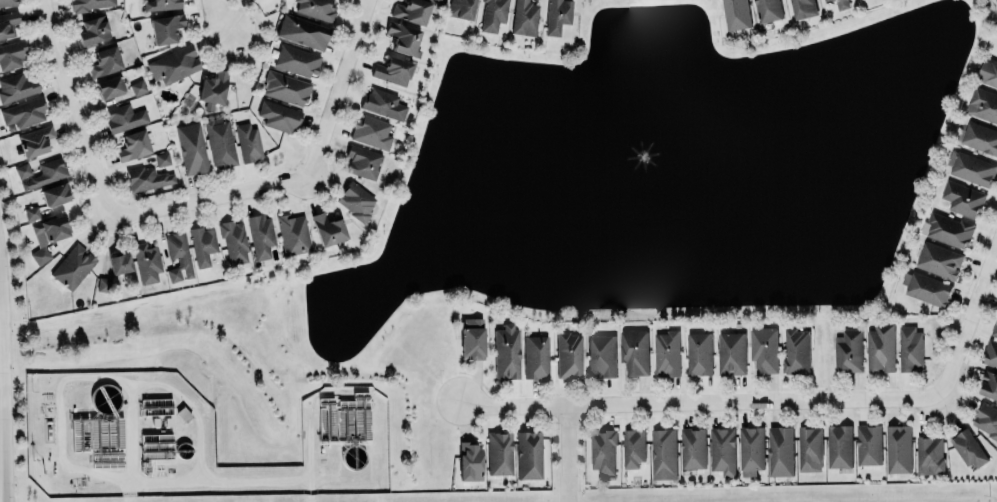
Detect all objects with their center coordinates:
building: (996, 1)
building: (7, 2)
building: (840, 3)
building: (90, 4)
building: (161, 4)
building: (317, 8)
building: (461, 8)
building: (802, 8)
building: (768, 10)
building: (411, 11)
building: (736, 14)
building: (492, 15)
building: (557, 15)
road: (220, 16)
building: (524, 17)
building: (8, 23)
building: (166, 27)
building: (93, 30)
building: (303, 31)
building: (403, 37)
building: (12, 54)
building: (297, 59)
building: (104, 61)
building: (173, 64)
building: (393, 71)
building: (988, 72)
building: (17, 86)
building: (109, 86)
building: (137, 86)
building: (286, 87)
building: (213, 89)
road: (341, 89)
building: (383, 103)
building: (983, 105)
road: (76, 108)
building: (25, 111)
building: (278, 115)
building: (125, 117)
building: (371, 131)
building: (981, 137)
building: (35, 140)
building: (249, 141)
building: (221, 143)
building: (134, 145)
building: (192, 148)
building: (161, 158)
building: (363, 161)
fountain: (635, 164)
building: (973, 169)
building: (22, 170)
building: (46, 173)
building: (147, 178)
building: (54, 194)
road: (213, 197)
building: (962, 199)
building: (355, 200)
building: (31, 212)
building: (52, 228)
building: (328, 228)
building: (948, 230)
building: (293, 233)
building: (261, 234)
building: (234, 240)
building: (202, 244)
building: (178, 256)
building: (939, 260)
building: (146, 262)
building: (120, 264)
building: (73, 266)
building: (103, 284)
building: (925, 288)
road: (968, 320)
building: (994, 328)
building: (471, 338)
building: (909, 347)
building: (880, 348)
building: (763, 349)
building: (795, 350)
building: (506, 351)
building: (634, 351)
building: (849, 351)
building: (665, 353)
building: (697, 353)
building: (730, 353)
building: (568, 354)
building: (990, 354)
building: (601, 355)
building: (535, 356)
road: (124, 379)
building: (989, 385)
road: (699, 401)
building: (156, 406)
building: (343, 418)
building: (987, 419)
road: (131, 433)
building: (868, 444)
building: (156, 445)
building: (840, 446)
building: (632, 448)
building: (692, 448)
building: (751, 448)
building: (810, 448)
building: (898, 448)
building: (967, 449)
building: (722, 450)
building: (603, 451)
building: (781, 451)
building: (499, 453)
road: (568, 453)
building: (663, 453)
building: (930, 453)
building: (528, 454)
building: (469, 460)
road: (130, 492)

